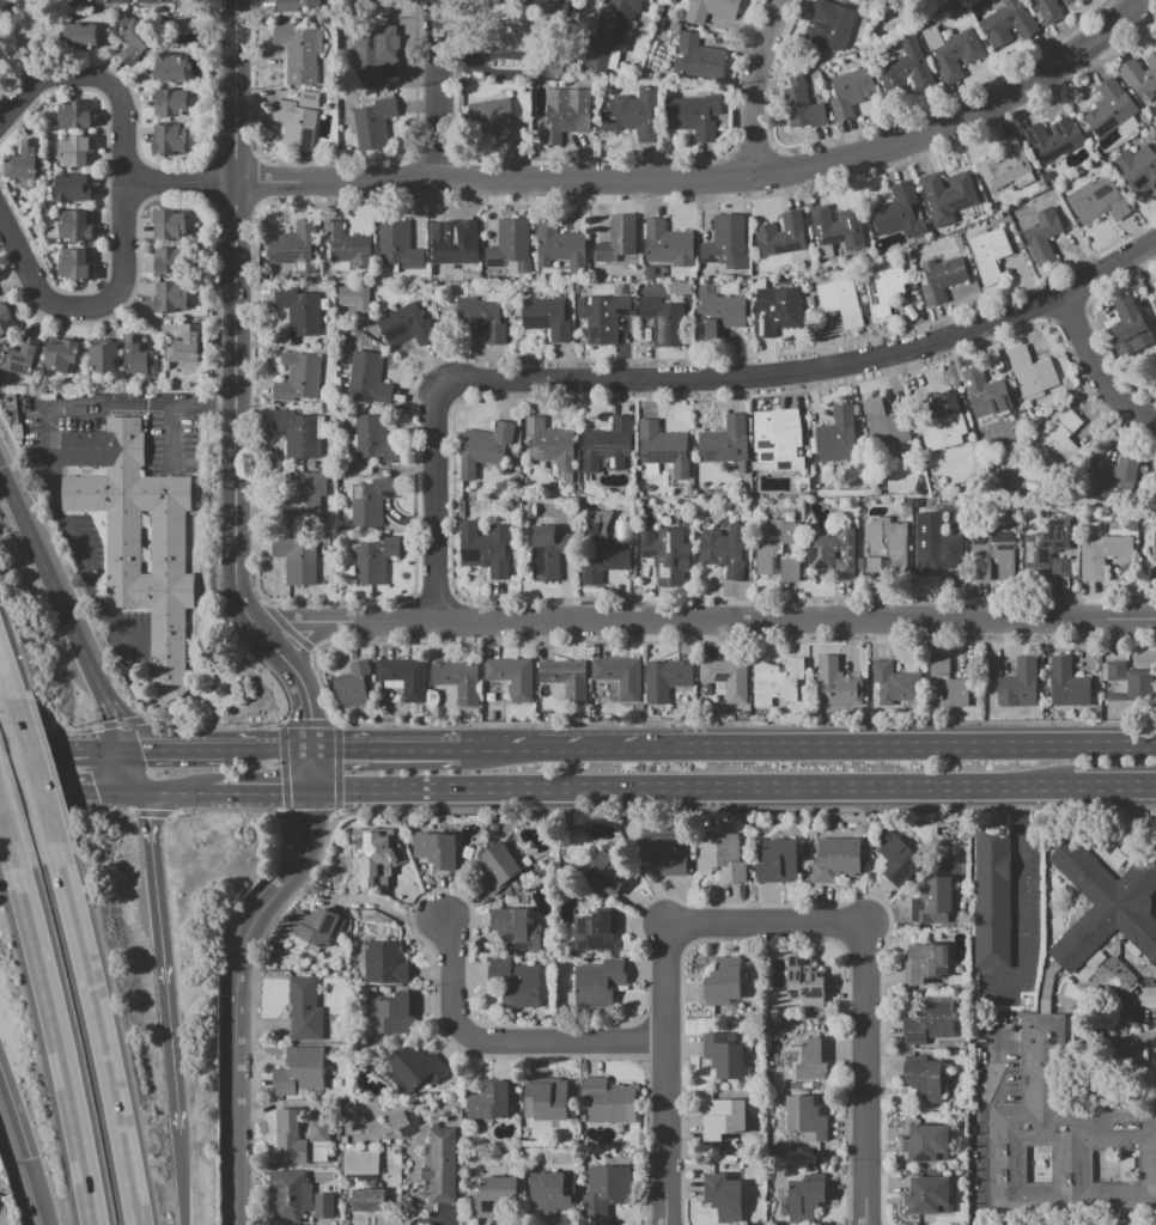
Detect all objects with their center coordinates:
building: (180, 0)
building: (548, 0)
building: (95, 1)
building: (152, 1)
building: (369, 1)
building: (1067, 1)
building: (296, 5)
building: (710, 10)
building: (1048, 10)
building: (1008, 23)
building: (662, 24)
building: (832, 28)
building: (612, 32)
building: (81, 35)
building: (135, 41)
building: (951, 49)
building: (299, 50)
building: (370, 55)
road: (519, 55)
building: (698, 57)
building: (905, 67)
building: (169, 68)
road: (96, 78)
building: (1139, 78)
road: (17, 80)
road: (753, 85)
road: (434, 91)
building: (851, 92)
building: (171, 102)
building: (802, 105)
building: (1108, 109)
building: (75, 114)
building: (565, 114)
building: (632, 114)
building: (694, 115)
building: (492, 117)
building: (298, 120)
building: (372, 122)
building: (168, 139)
building: (1053, 139)
building: (75, 150)
building: (23, 160)
building: (1004, 164)
building: (1137, 169)
road: (710, 177)
road: (178, 181)
building: (72, 187)
building: (947, 196)
building: (1096, 201)
road: (104, 209)
building: (900, 212)
building: (168, 223)
building: (72, 226)
building: (531, 226)
building: (834, 230)
building: (1041, 233)
building: (780, 234)
building: (617, 238)
building: (726, 243)
building: (398, 244)
building: (452, 244)
building: (668, 244)
building: (347, 245)
building: (560, 245)
building: (294, 246)
building: (510, 246)
building: (988, 252)
building: (170, 261)
building: (74, 264)
building: (652, 272)
building: (539, 276)
building: (941, 278)
building: (314, 279)
building: (620, 290)
building: (884, 291)
building: (170, 295)
building: (354, 295)
building: (841, 298)
building: (323, 304)
road: (91, 305)
building: (299, 309)
building: (775, 310)
building: (718, 312)
building: (546, 316)
building: (482, 317)
building: (602, 317)
building: (663, 318)
building: (7, 321)
building: (406, 325)
building: (1128, 328)
building: (183, 345)
road: (236, 349)
building: (60, 354)
building: (138, 355)
building: (20, 356)
building: (103, 356)
road: (1094, 370)
building: (1030, 372)
road: (215, 373)
building: (297, 378)
building: (367, 378)
road: (686, 378)
building: (986, 394)
building: (7, 396)
road: (54, 404)
building: (10, 406)
building: (12, 420)
building: (884, 423)
building: (944, 423)
building: (16, 432)
building: (299, 432)
building: (836, 434)
road: (170, 435)
building: (373, 439)
building: (773, 439)
building: (724, 441)
building: (549, 443)
building: (1060, 443)
building: (607, 444)
building: (485, 445)
building: (663, 450)
building: (515, 455)
building: (310, 464)
building: (1115, 476)
building: (1155, 477)
building: (304, 493)
building: (369, 501)
road: (254, 505)
building: (531, 511)
building: (138, 537)
building: (888, 538)
building: (774, 540)
building: (1155, 546)
building: (485, 547)
building: (604, 547)
building: (832, 548)
building: (1051, 548)
building: (997, 549)
building: (723, 550)
building: (549, 551)
building: (938, 553)
building: (1100, 553)
building: (665, 554)
building: (297, 557)
building: (373, 559)
building: (874, 565)
building: (980, 569)
building: (789, 571)
building: (517, 572)
road: (47, 581)
road: (704, 622)
road: (312, 638)
road: (4, 658)
building: (402, 676)
building: (510, 676)
building: (620, 676)
building: (725, 677)
building: (564, 678)
building: (456, 679)
building: (663, 679)
building: (893, 682)
building: (1125, 682)
building: (352, 684)
building: (775, 684)
building: (836, 684)
building: (1017, 684)
building: (1067, 684)
building: (945, 685)
road: (310, 714)
road: (107, 715)
traffic signals: (311, 719)
road: (129, 720)
road: (121, 721)
road: (49, 731)
road: (902, 746)
road: (147, 749)
road: (202, 749)
road: (44, 750)
road: (105, 750)
traffic signals: (140, 750)
road: (255, 750)
road: (294, 750)
traffic signals: (343, 750)
road: (387, 750)
road: (554, 750)
road: (37, 768)
road: (130, 772)
road: (1112, 787)
road: (690, 791)
road: (69, 793)
traffic signals: (101, 793)
road: (174, 793)
road: (260, 793)
traffic signals: (280, 794)
road: (227, 810)
traffic signals: (317, 818)
traffic signals: (150, 819)
road: (10, 830)
building: (433, 849)
building: (659, 854)
building: (718, 855)
building: (894, 858)
building: (834, 859)
building: (381, 861)
building: (775, 861)
building: (495, 867)
building: (603, 872)
building: (991, 896)
road: (1017, 896)
building: (930, 902)
building: (1107, 903)
road: (387, 906)
building: (315, 926)
building: (367, 928)
building: (516, 928)
building: (594, 931)
road: (675, 935)
road: (852, 935)
road: (763, 939)
road: (165, 962)
building: (383, 962)
building: (923, 962)
road: (665, 975)
road: (239, 976)
building: (1112, 976)
building: (720, 981)
building: (803, 981)
building: (595, 982)
building: (517, 986)
road: (1148, 998)
building: (304, 1008)
building: (393, 1014)
building: (1000, 1019)
building: (927, 1022)
road: (504, 1040)
road: (61, 1043)
road: (107, 1044)
building: (720, 1056)
building: (804, 1060)
building: (416, 1067)
building: (299, 1069)
road: (864, 1074)
building: (1155, 1074)
building: (927, 1080)
building: (492, 1099)
building: (547, 1099)
building: (604, 1101)
road: (19, 1107)
building: (804, 1119)
building: (720, 1120)
building: (318, 1130)
building: (288, 1138)
building: (1064, 1140)
building: (917, 1159)
building: (439, 1166)
road: (182, 1180)
building: (603, 1190)
road: (47, 1194)
building: (288, 1194)
building: (550, 1194)
building: (929, 1194)
building: (493, 1195)
building: (719, 1195)
building: (366, 1199)
building: (802, 1199)
building: (323, 1203)

